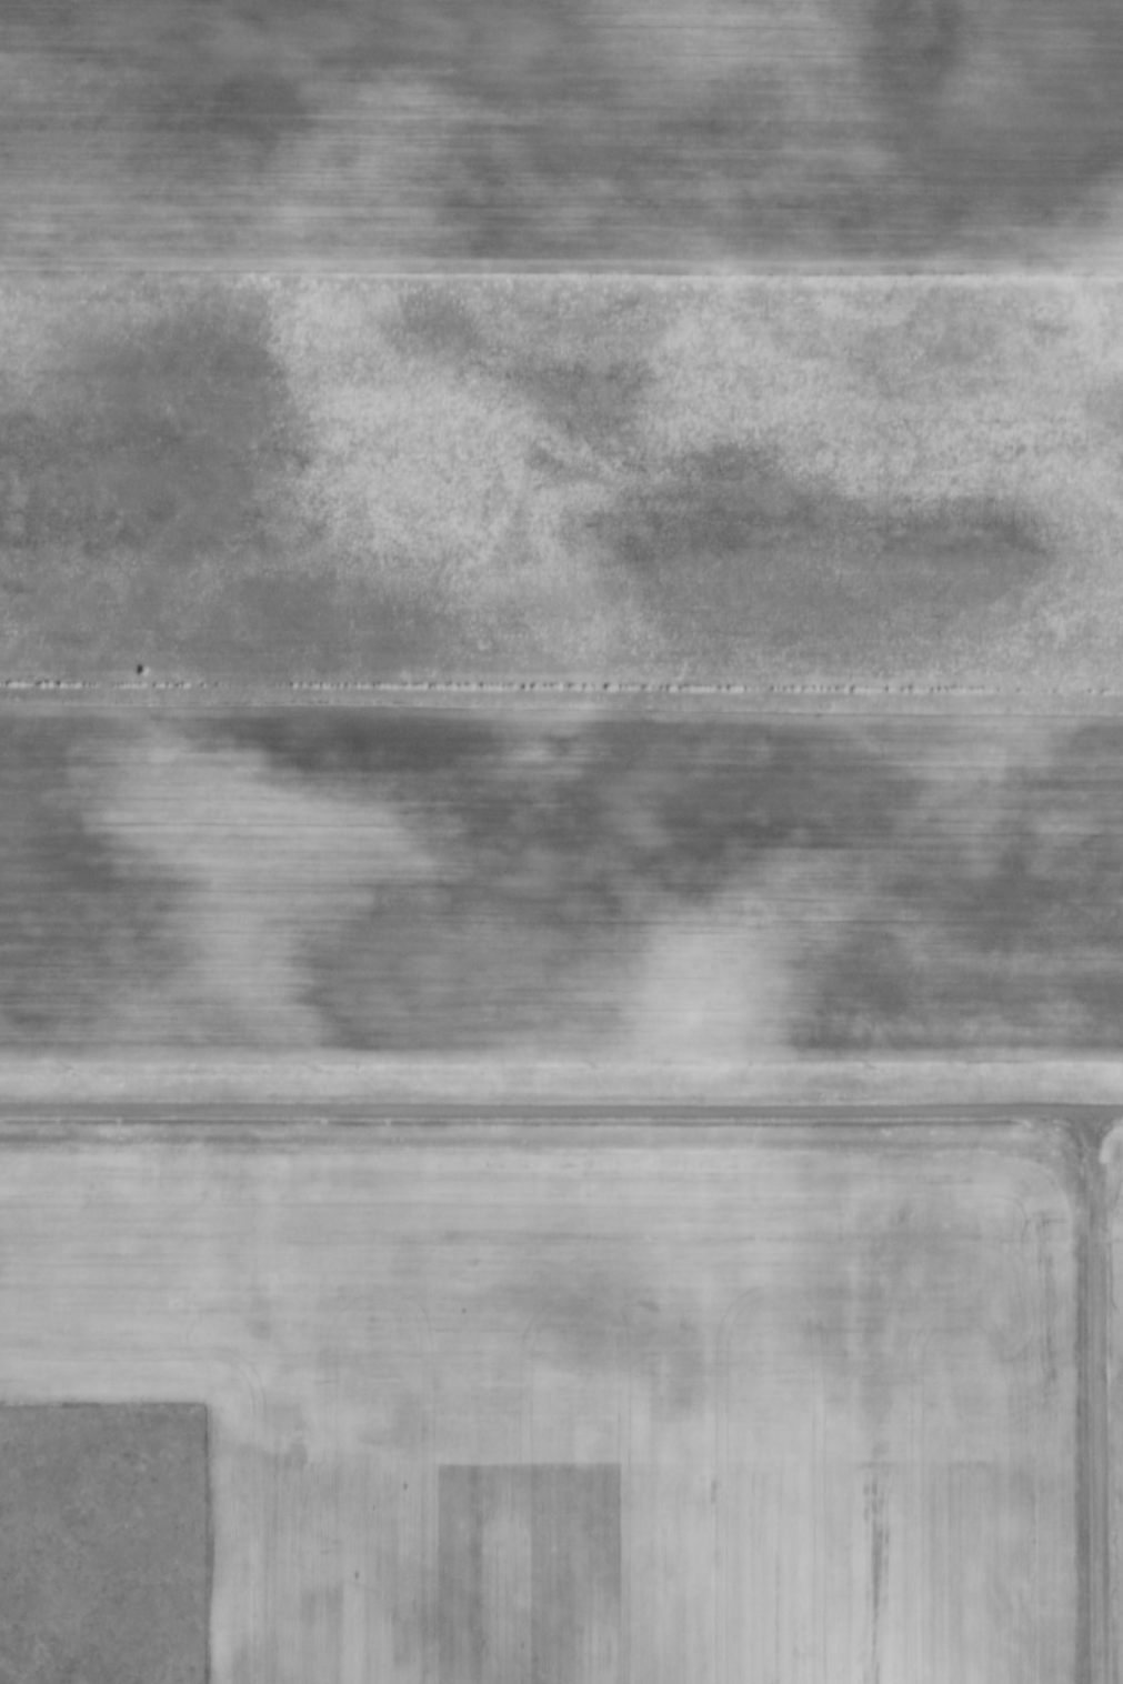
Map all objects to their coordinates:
road: (561, 1116)
road: (1093, 1401)

